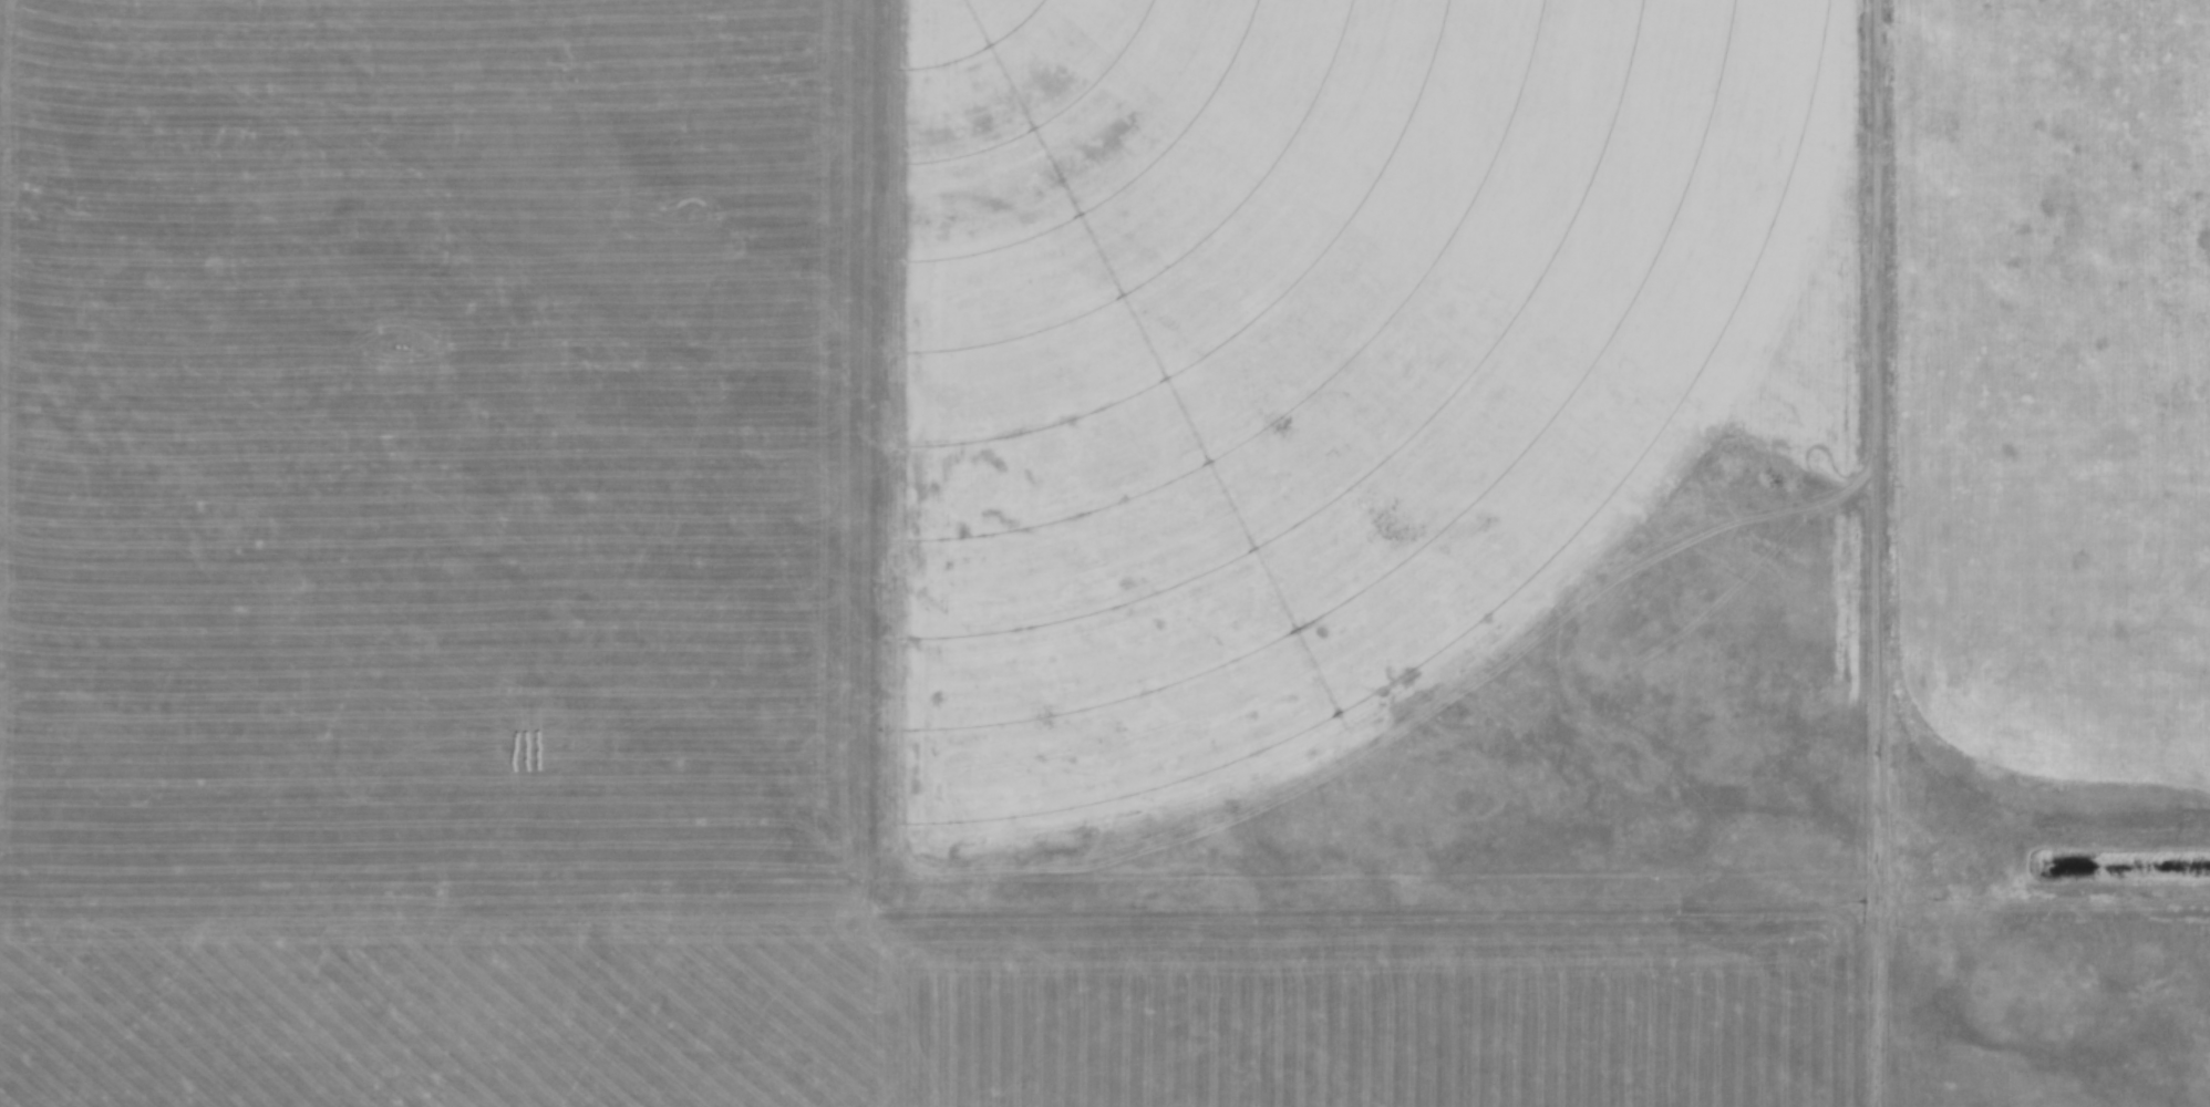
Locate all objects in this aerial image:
road: (1882, 552)

